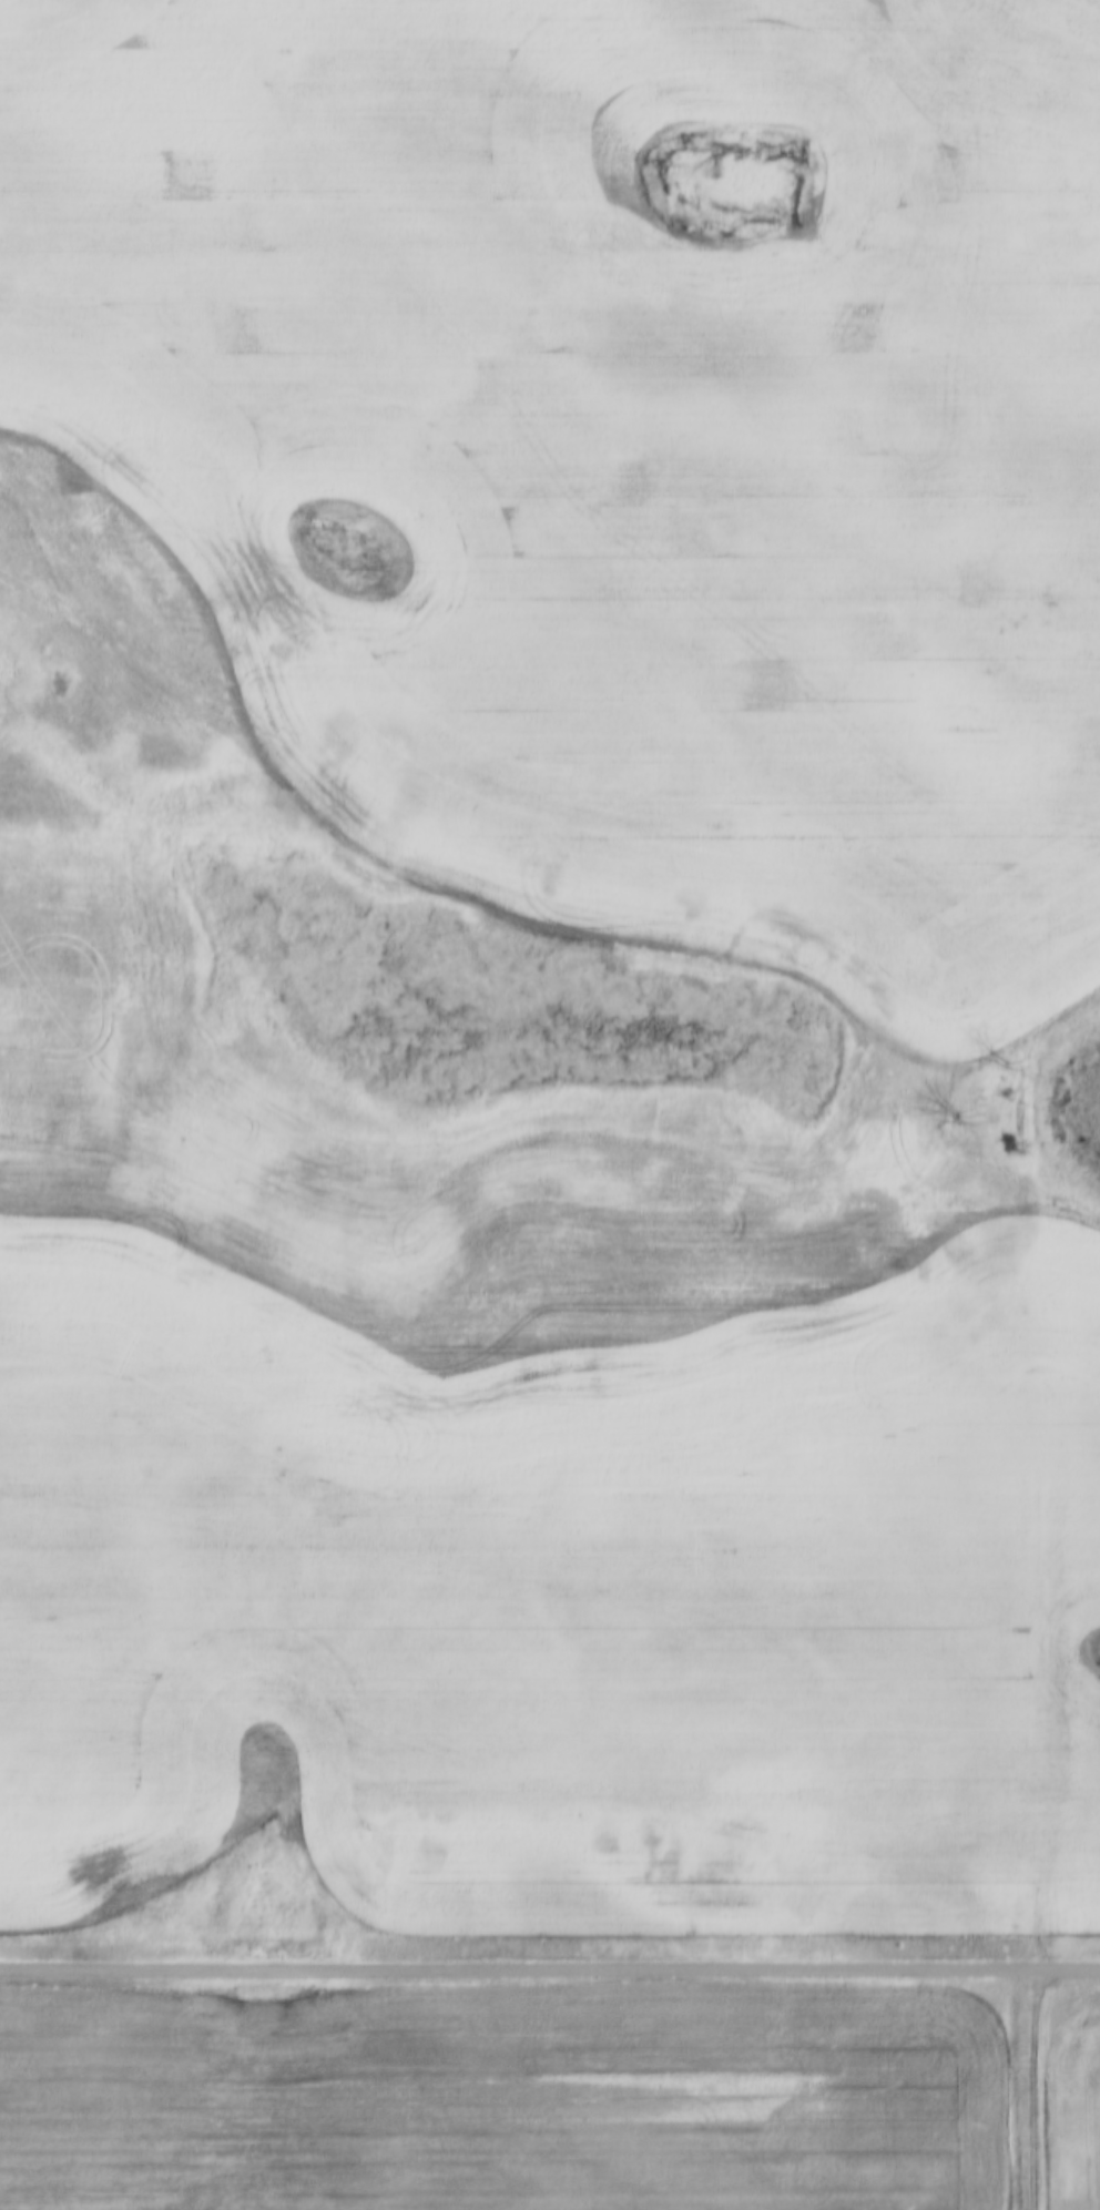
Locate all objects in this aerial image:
road: (549, 1970)

